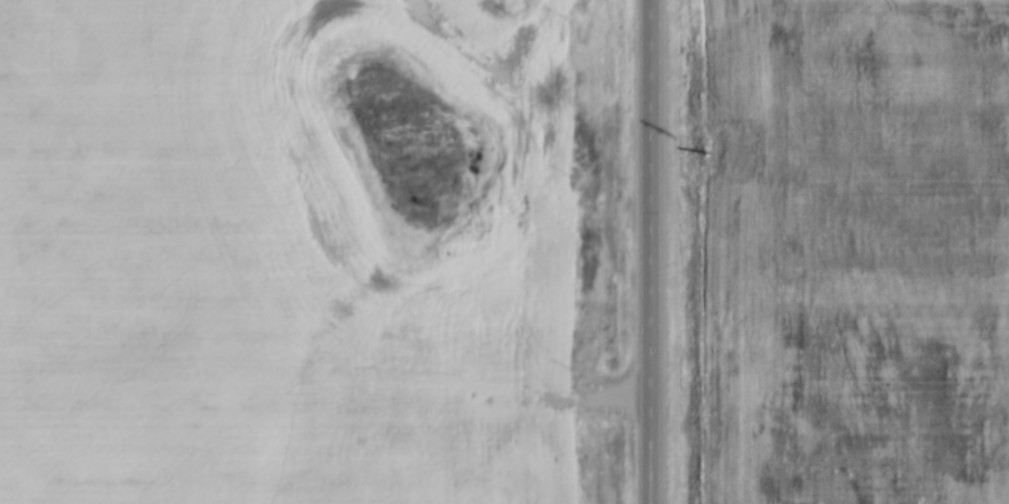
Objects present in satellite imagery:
road: (648, 252)

